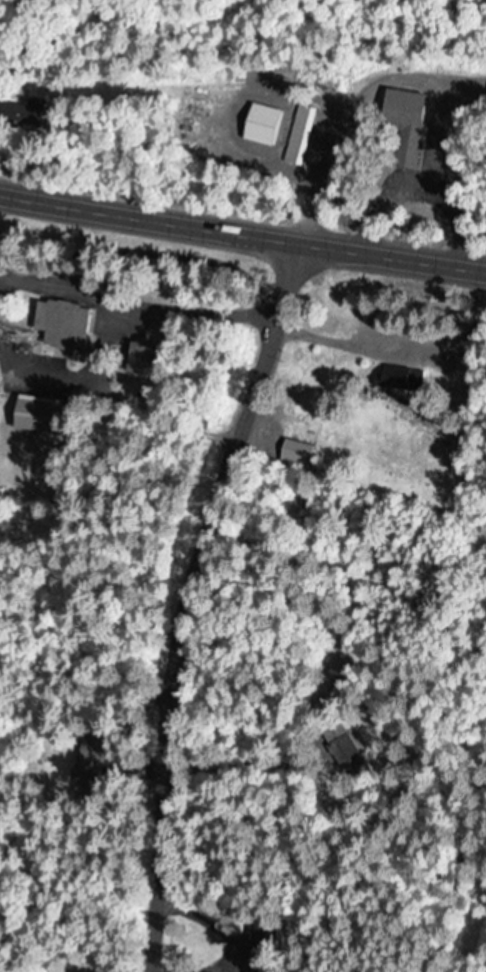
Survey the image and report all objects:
road: (355, 105)
building: (400, 126)
building: (299, 135)
road: (465, 226)
road: (242, 227)
road: (146, 254)
building: (68, 323)
building: (148, 358)
building: (44, 413)
building: (296, 453)
road: (187, 596)
road: (88, 624)
airport: (17, 753)
building: (351, 756)
road: (463, 889)

